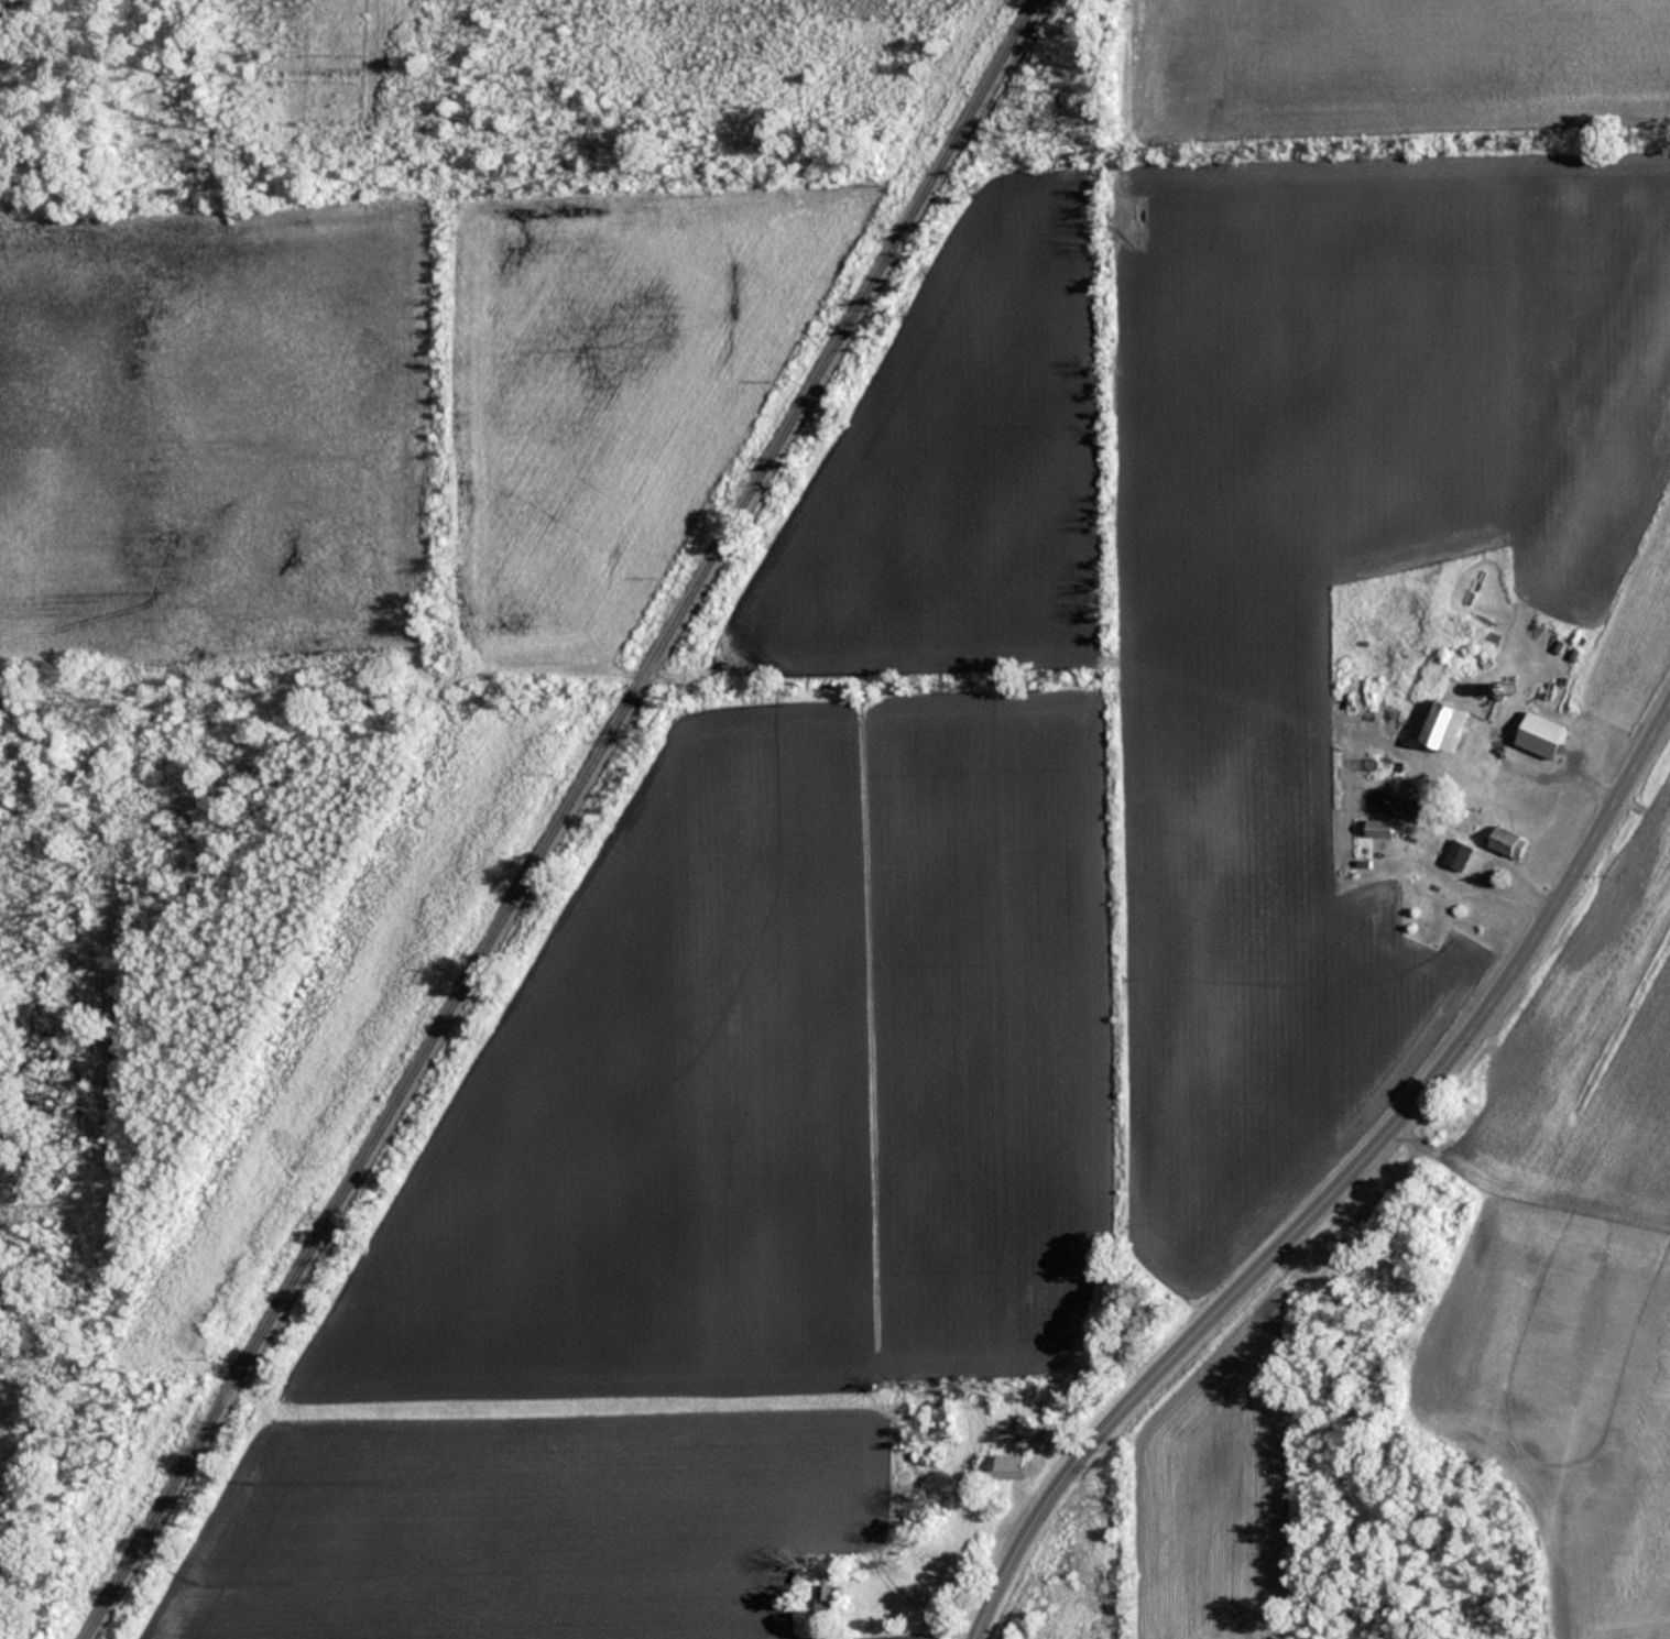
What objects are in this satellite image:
building: (1445, 723)
building: (1542, 734)
railway: (560, 819)
building: (1382, 828)
building: (1510, 841)
building: (1460, 854)
road: (1339, 1192)
building: (1007, 1467)

